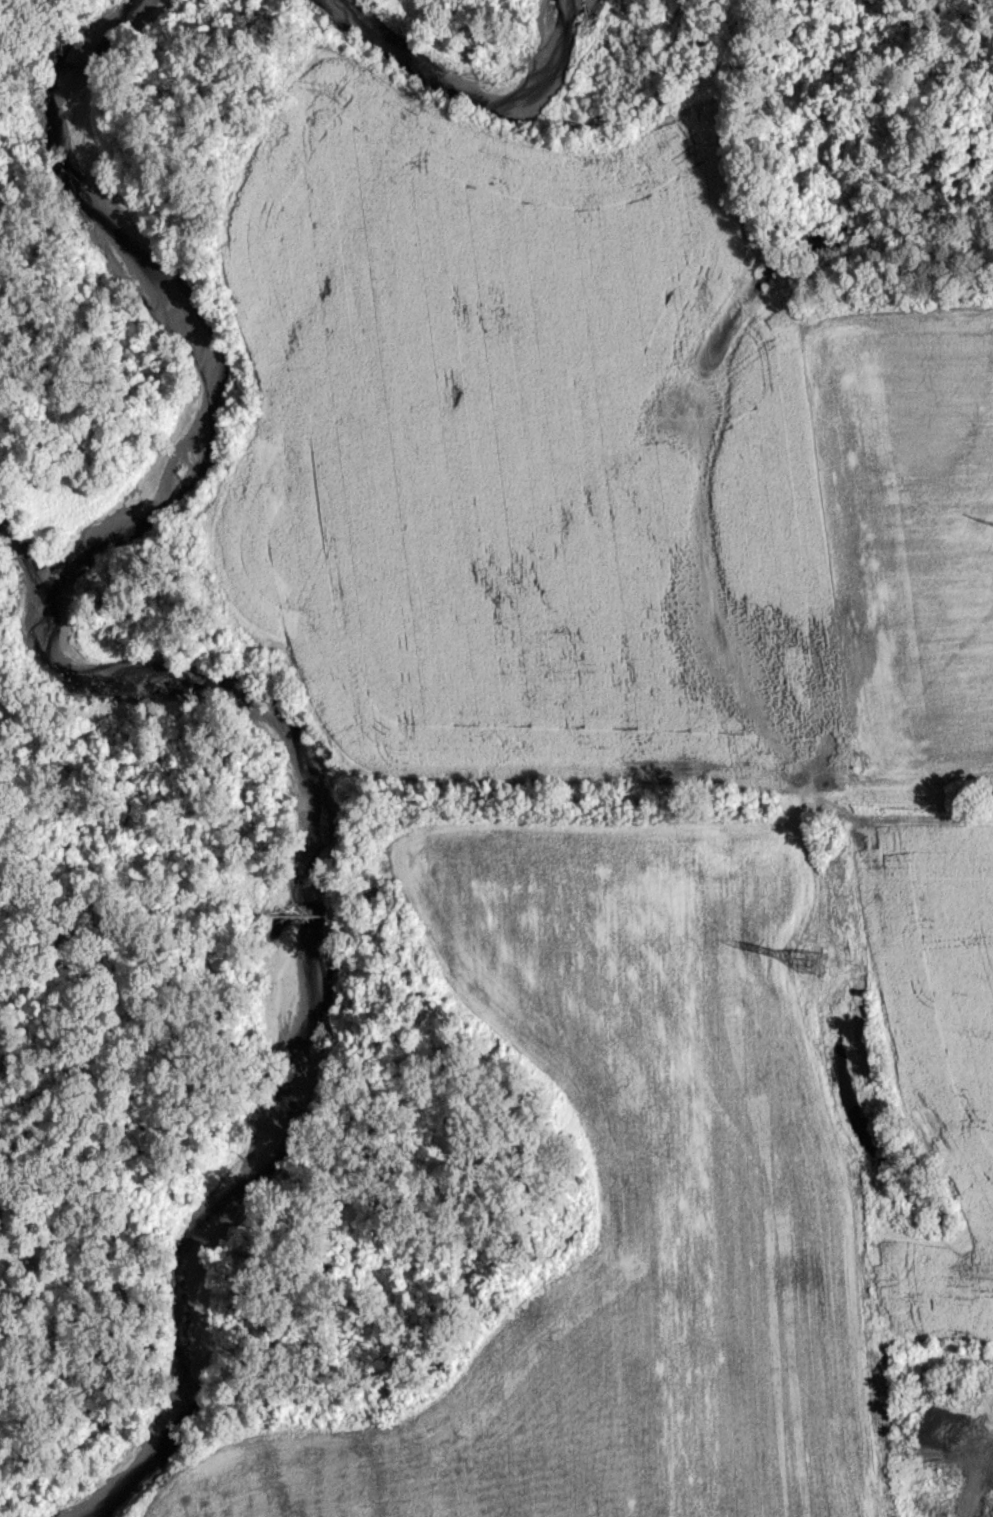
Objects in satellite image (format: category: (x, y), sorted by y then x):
power tower: (812, 962)

